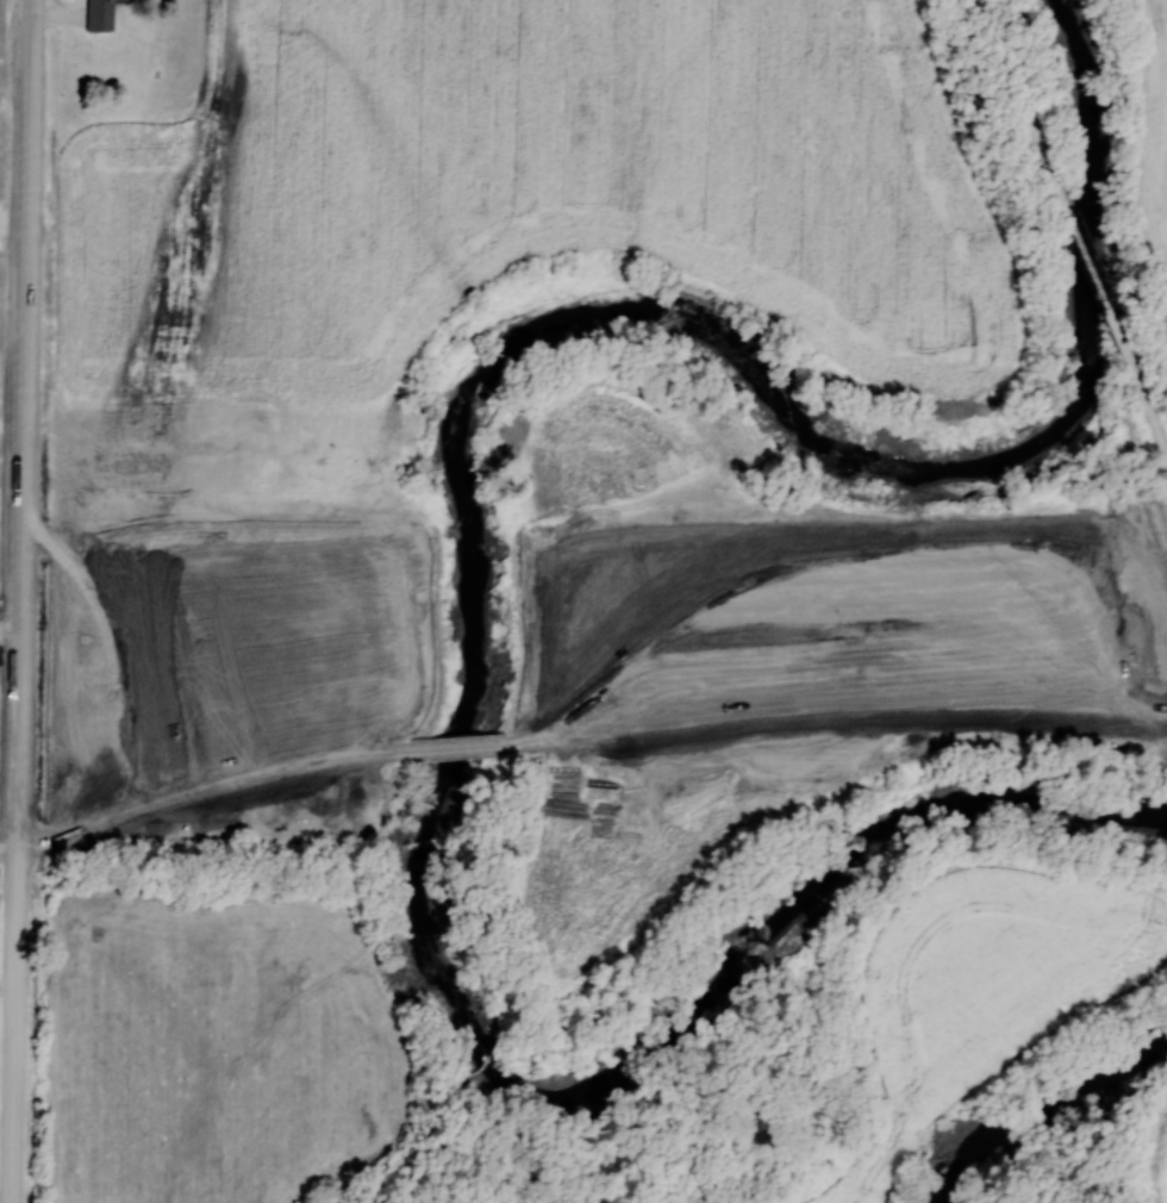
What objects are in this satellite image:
building: (99, 14)
road: (1009, 71)
road: (1086, 258)
road: (1149, 417)
road: (30, 429)
river: (472, 578)
road: (836, 709)
road: (460, 746)
road: (212, 785)
road: (19, 1030)
river: (1044, 1110)

